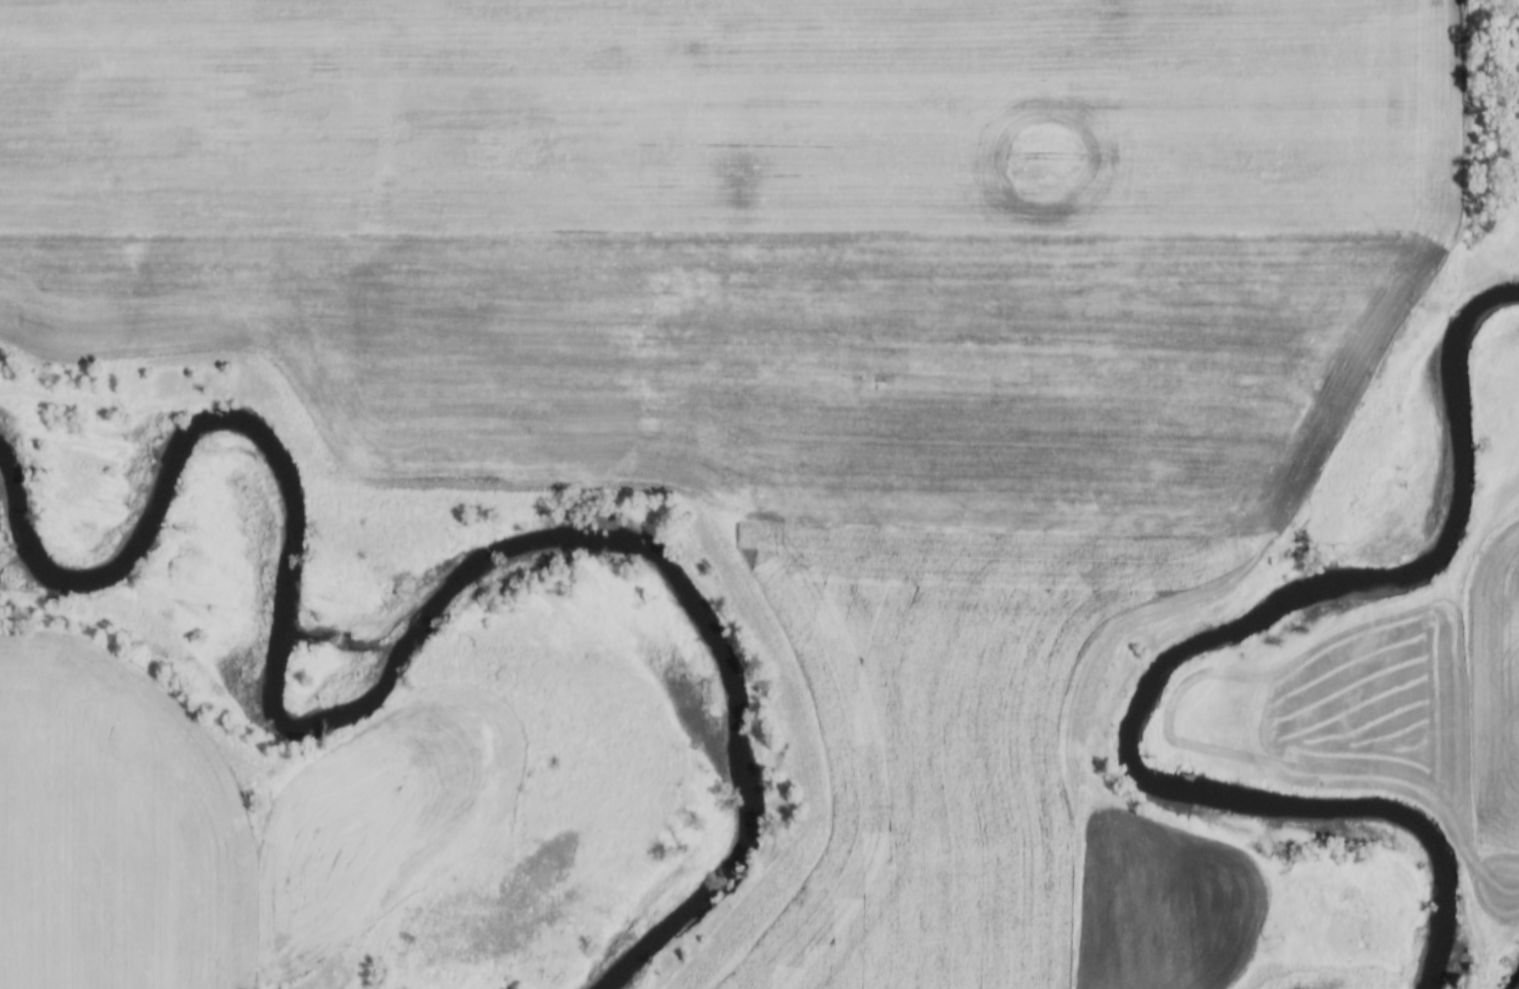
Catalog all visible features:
river: (1207, 662)
river: (359, 685)

